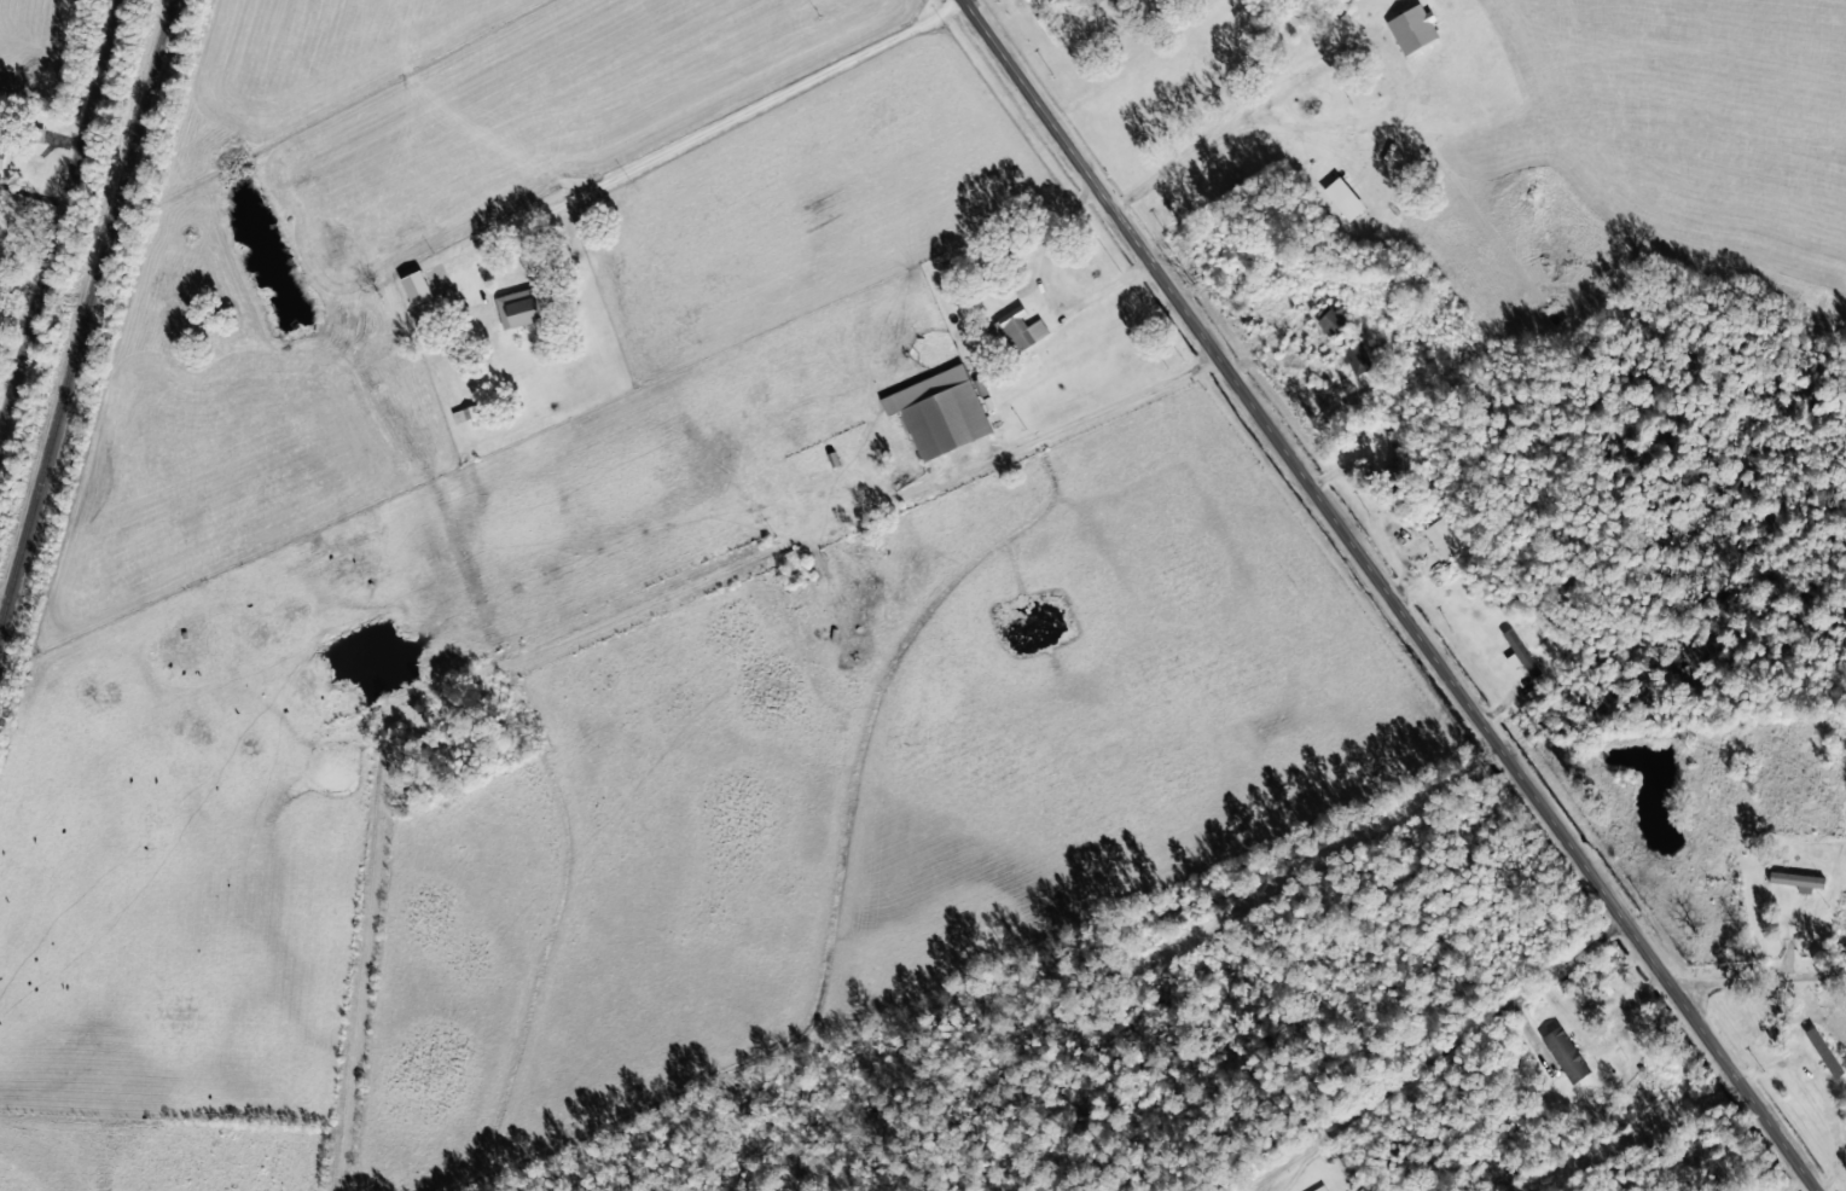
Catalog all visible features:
building: (1412, 28)
building: (2, 155)
road: (631, 170)
building: (1343, 197)
road: (59, 213)
building: (416, 286)
building: (517, 307)
railway: (85, 310)
building: (1329, 318)
building: (1020, 327)
building: (1357, 356)
building: (464, 413)
building: (946, 419)
building: (1394, 455)
building: (1441, 536)
road: (1391, 595)
building: (1521, 651)
building: (1796, 879)
road: (1760, 978)
building: (1823, 1051)
building: (1565, 1053)
building: (1319, 1187)

